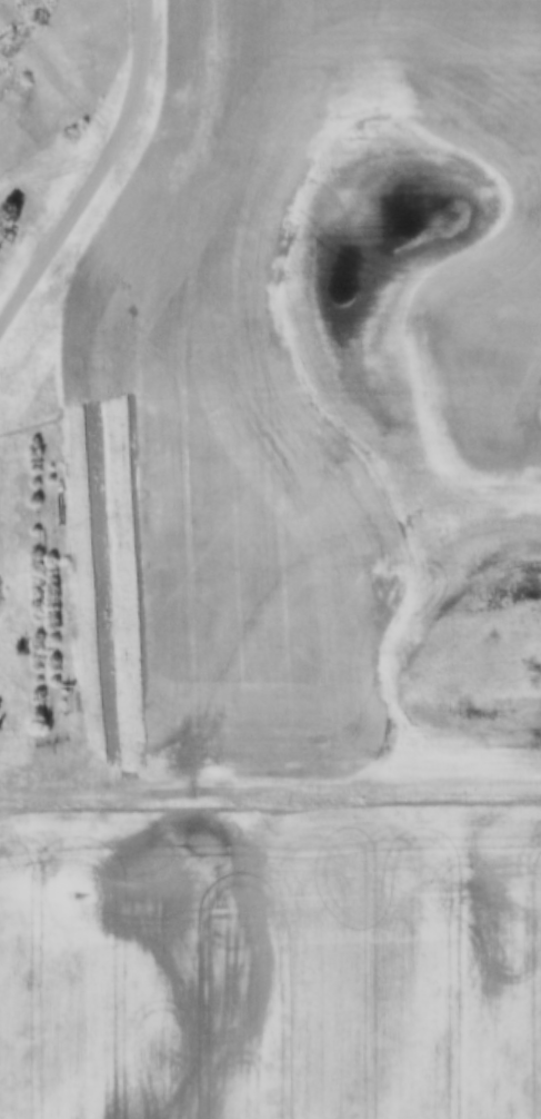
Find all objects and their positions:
road: (56, 77)
road: (94, 171)
building: (63, 703)
road: (270, 786)

